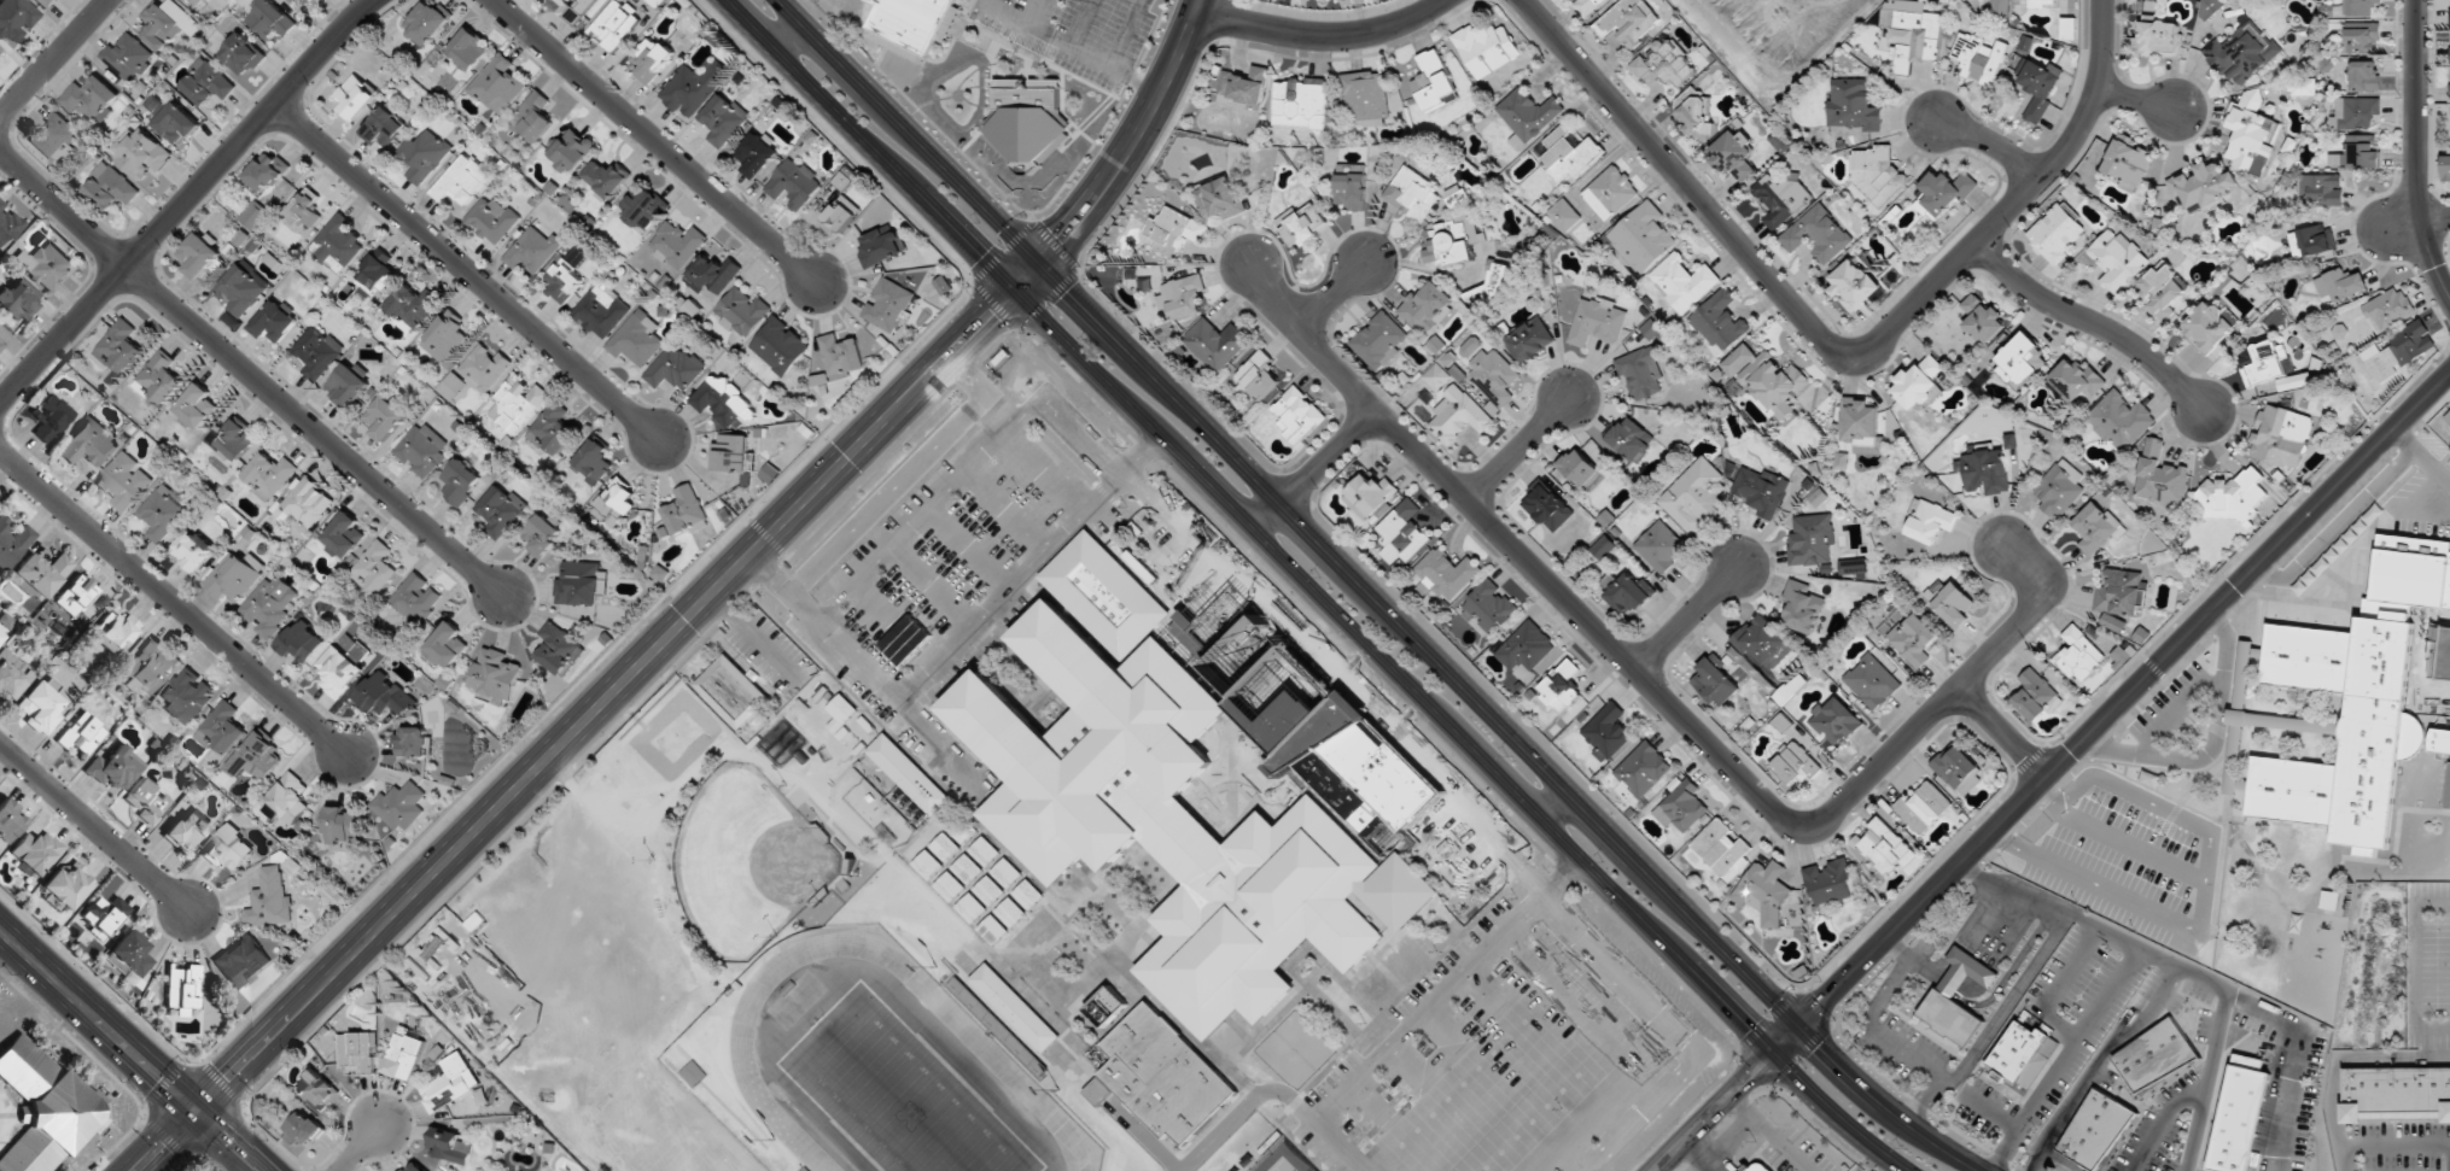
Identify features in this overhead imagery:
building: (319, 0)
building: (45, 2)
building: (193, 2)
building: (657, 2)
building: (2040, 4)
building: (1587, 5)
building: (578, 7)
building: (2211, 7)
building: (2000, 10)
building: (269, 19)
building: (425, 22)
building: (1628, 22)
building: (168, 23)
building: (912, 23)
building: (614, 25)
building: (2069, 28)
building: (1911, 33)
road: (1323, 36)
road: (789, 37)
building: (2158, 37)
building: (2359, 37)
building: (468, 48)
building: (1486, 48)
building: (2241, 53)
building: (241, 54)
building: (128, 57)
road: (52, 58)
building: (1978, 58)
building: (652, 59)
building: (1666, 64)
building: (2363, 76)
building: (1434, 82)
building: (206, 83)
building: (497, 84)
building: (2302, 86)
building: (2038, 87)
building: (692, 88)
building: (1244, 88)
building: (2449, 89)
building: (89, 98)
building: (354, 98)
building: (1367, 98)
road: (2137, 100)
building: (1300, 103)
building: (1853, 105)
building: (2355, 112)
building: (1696, 115)
building: (1528, 116)
building: (535, 117)
building: (723, 119)
building: (1026, 119)
building: (176, 123)
building: (2248, 130)
building: (54, 139)
road: (1990, 141)
road: (657, 144)
road: (2419, 148)
building: (572, 151)
building: (141, 152)
building: (2356, 153)
building: (757, 154)
building: (1569, 154)
building: (1734, 154)
building: (424, 156)
building: (2128, 164)
building: (2445, 166)
building: (1351, 168)
building: (267, 172)
building: (1877, 174)
building: (605, 178)
building: (462, 180)
building: (793, 183)
building: (112, 186)
building: (2321, 189)
building: (1352, 191)
building: (1610, 192)
building: (1943, 193)
road: (1098, 194)
building: (1412, 194)
building: (1219, 198)
building: (1780, 198)
road: (183, 201)
building: (642, 209)
building: (303, 210)
building: (841, 212)
building: (253, 215)
building: (1564, 216)
road: (2437, 217)
building: (492, 219)
building: (8, 223)
building: (1301, 223)
building: (1173, 232)
building: (2057, 233)
building: (1818, 234)
building: (1641, 238)
traffic signals: (1061, 240)
building: (1452, 241)
building: (2312, 241)
building: (677, 242)
building: (337, 244)
building: (881, 246)
building: (532, 250)
building: (199, 254)
traffic signals: (978, 256)
building: (2117, 259)
building: (46, 265)
road: (466, 271)
building: (378, 274)
building: (711, 274)
building: (565, 277)
building: (1682, 282)
building: (943, 285)
building: (1853, 285)
building: (2340, 285)
building: (1492, 286)
building: (243, 288)
building: (2164, 291)
traffic signals: (1067, 292)
road: (1334, 292)
building: (1180, 295)
building: (16, 301)
building: (888, 305)
building: (410, 306)
building: (1428, 308)
building: (2387, 308)
building: (601, 311)
building: (742, 312)
traffic signals: (990, 316)
building: (1719, 320)
building: (1981, 320)
building: (274, 321)
building: (1597, 322)
road: (2095, 324)
building: (2209, 326)
building: (1651, 329)
building: (444, 336)
building: (1530, 339)
building: (636, 340)
building: (1379, 340)
building: (1215, 342)
building: (1, 346)
building: (780, 346)
building: (1470, 346)
building: (119, 347)
building: (2397, 351)
building: (319, 352)
road: (1836, 355)
building: (838, 359)
building: (1738, 359)
building: (2020, 361)
building: (2264, 363)
building: (484, 368)
building: (673, 368)
road: (251, 371)
building: (1641, 373)
building: (1255, 376)
building: (1436, 376)
building: (1493, 379)
building: (2076, 381)
building: (1919, 383)
building: (348, 385)
building: (1773, 385)
building: (451, 386)
building: (723, 400)
building: (518, 404)
building: (197, 405)
building: (1296, 414)
building: (49, 417)
building: (1457, 417)
building: (2448, 417)
building: (385, 418)
building: (2119, 421)
building: (1860, 426)
building: (553, 429)
building: (2280, 435)
building: (235, 439)
building: (1631, 439)
building: (2009, 440)
building: (89, 444)
building: (421, 450)
road: (1521, 450)
road: (1142, 451)
building: (730, 452)
building: (594, 459)
building: (1577, 468)
road: (966, 470)
building: (1984, 470)
road: (906, 473)
road: (1313, 473)
building: (268, 475)
building: (2159, 475)
building: (124, 481)
building: (459, 481)
building: (2059, 488)
building: (1761, 490)
building: (1694, 494)
building: (1370, 496)
building: (2229, 497)
building: (616, 503)
building: (304, 505)
building: (1548, 508)
building: (501, 510)
building: (686, 511)
building: (162, 514)
road: (2344, 515)
building: (1929, 521)
building: (2094, 527)
building: (1402, 533)
building: (344, 534)
building: (542, 534)
building: (1812, 539)
building: (13, 541)
building: (1661, 546)
building: (1603, 548)
building: (192, 550)
building: (1853, 567)
building: (375, 568)
road: (768, 573)
building: (1446, 573)
building: (40, 574)
building: (234, 575)
building: (579, 584)
road: (1311, 587)
building: (1629, 592)
building: (76, 595)
road: (791, 595)
road: (1371, 595)
building: (2119, 597)
building: (418, 598)
road: (174, 602)
building: (1949, 602)
building: (269, 605)
building: (1802, 605)
building: (1488, 607)
road: (1691, 619)
building: (115, 631)
building: (2, 636)
road: (963, 636)
building: (905, 640)
building: (1912, 640)
building: (301, 642)
building: (1767, 644)
building: (445, 645)
building: (352, 648)
building: (558, 648)
building: (1526, 648)
building: (2078, 654)
building: (150, 667)
building: (2244, 671)
building: (338, 672)
building: (12, 675)
building: (495, 677)
building: (1872, 681)
building: (1715, 683)
building: (1561, 687)
building: (733, 692)
building: (187, 695)
building: (384, 695)
road: (1662, 696)
building: (2035, 696)
building: (2356, 699)
building: (41, 704)
building: (840, 713)
building: (1834, 721)
building: (221, 728)
building: (1606, 732)
road: (572, 733)
building: (82, 734)
road: (2003, 736)
building: (2439, 740)
building: (413, 742)
road: (2212, 743)
building: (256, 757)
building: (1795, 763)
building: (2232, 763)
building: (115, 768)
building: (1643, 768)
building: (1958, 769)
building: (909, 774)
road: (2053, 774)
building: (146, 800)
building: (287, 800)
building: (1168, 804)
building: (401, 806)
building: (1681, 806)
building: (1923, 807)
road: (1558, 808)
road: (1465, 816)
building: (8, 821)
building: (342, 825)
road: (94, 826)
building: (187, 829)
building: (945, 847)
building: (1884, 847)
building: (229, 849)
building: (1722, 850)
building: (984, 851)
building: (35, 853)
building: (927, 865)
building: (967, 868)
building: (1005, 873)
road: (1558, 874)
building: (1828, 880)
building: (68, 885)
building: (949, 886)
building: (988, 890)
building: (1763, 891)
building: (1027, 894)
building: (269, 900)
building: (970, 908)
building: (105, 913)
building: (1010, 913)
building: (992, 930)
road: (1900, 948)
building: (132, 953)
building: (241, 961)
road: (2177, 965)
building: (1966, 971)
building: (182, 989)
traffic signals: (1824, 1003)
building: (1015, 1007)
building: (1107, 1007)
road: (98, 1019)
building: (1948, 1019)
road: (1993, 1025)
road: (1405, 1027)
traffic signals: (1745, 1029)
road: (1877, 1029)
traffic signals: (1818, 1048)
building: (357, 1050)
building: (404, 1054)
building: (2022, 1054)
building: (2156, 1056)
road: (2063, 1058)
road: (2098, 1061)
traffic signals: (1751, 1077)
building: (1161, 1078)
building: (450, 1082)
building: (317, 1089)
park: (896, 1093)
building: (2397, 1093)
building: (46, 1108)
traffic signals: (197, 1111)
building: (2240, 1113)
building: (304, 1128)
building: (2095, 1128)
road: (164, 1141)
road: (229, 1141)
building: (450, 1147)
road: (360, 1148)
building: (414, 1166)
building: (1757, 1166)

